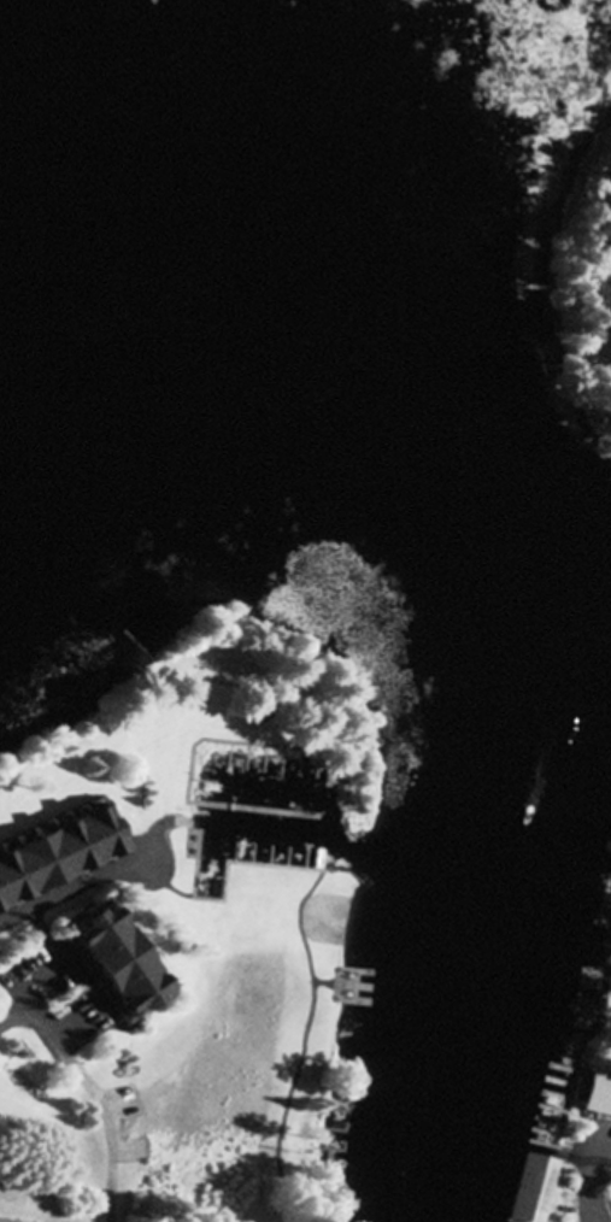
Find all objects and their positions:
river: (52, 194)
river: (513, 611)
pier: (254, 810)
building: (57, 854)
road: (70, 885)
building: (110, 964)
building: (595, 1097)
building: (530, 1188)

